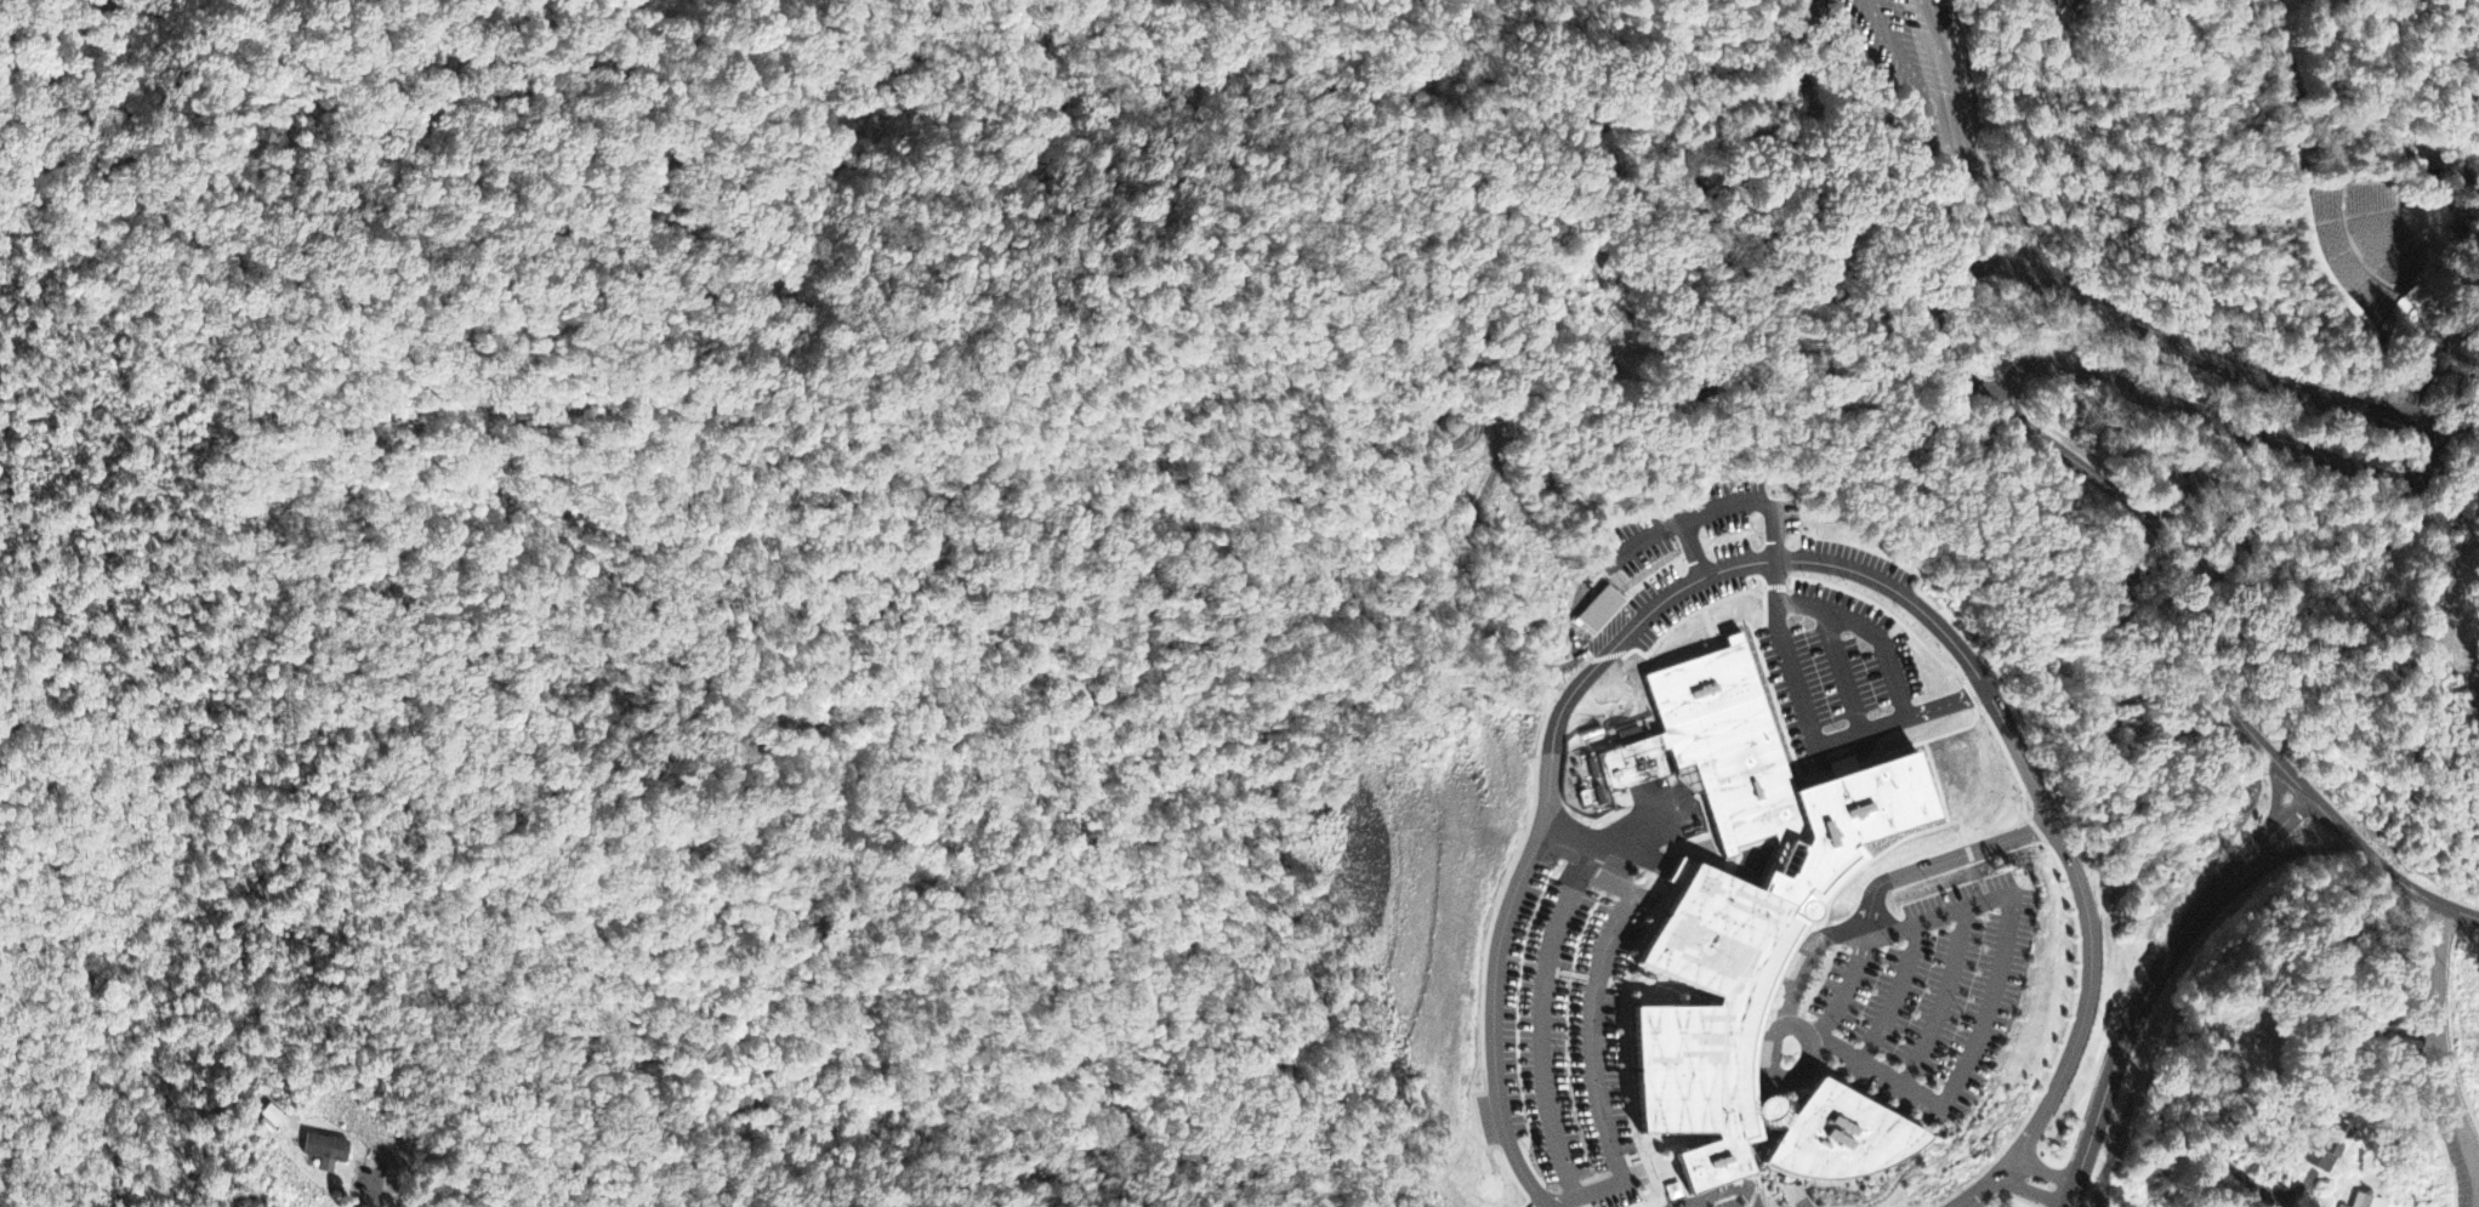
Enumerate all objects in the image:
road: (1613, 5)
building: (2066, 13)
parking lot: (1924, 72)
road: (430, 90)
road: (1971, 142)
road: (1899, 153)
road: (305, 348)
road: (201, 405)
building: (1449, 420)
storage tank: (1449, 420)
road: (735, 440)
road: (438, 473)
road: (2433, 473)
road: (936, 505)
building: (1721, 512)
road: (1698, 518)
road: (1122, 530)
road: (1221, 563)
road: (1810, 563)
road: (2183, 563)
building: (1602, 613)
building: (1775, 768)
road: (1932, 865)
building: (1802, 886)
road: (2002, 940)
road: (2157, 981)
road: (1838, 990)
road: (1884, 994)
road: (1934, 1001)
road: (2438, 1040)
building: (1745, 1047)
building: (1764, 1055)
road: (1792, 1075)
road: (961, 1091)
road: (2183, 1105)
building: (268, 1110)
building: (323, 1149)
building: (2330, 1150)
road: (2039, 1182)
helipad: (1499, 1192)
road: (383, 1199)
building: (2366, 1202)

